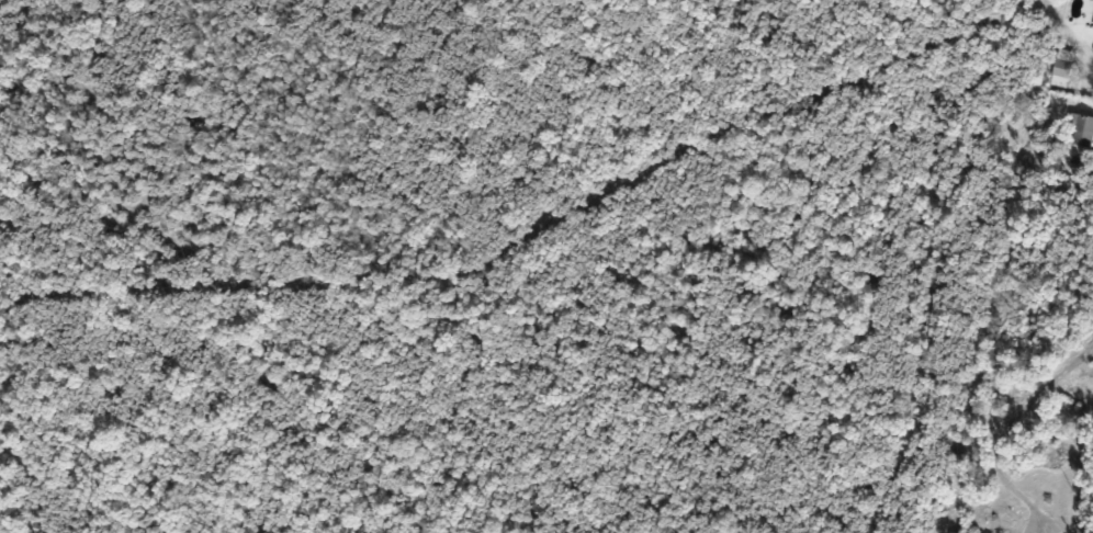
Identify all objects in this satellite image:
building: (1092, 0)
building: (1083, 131)
park: (496, 260)

